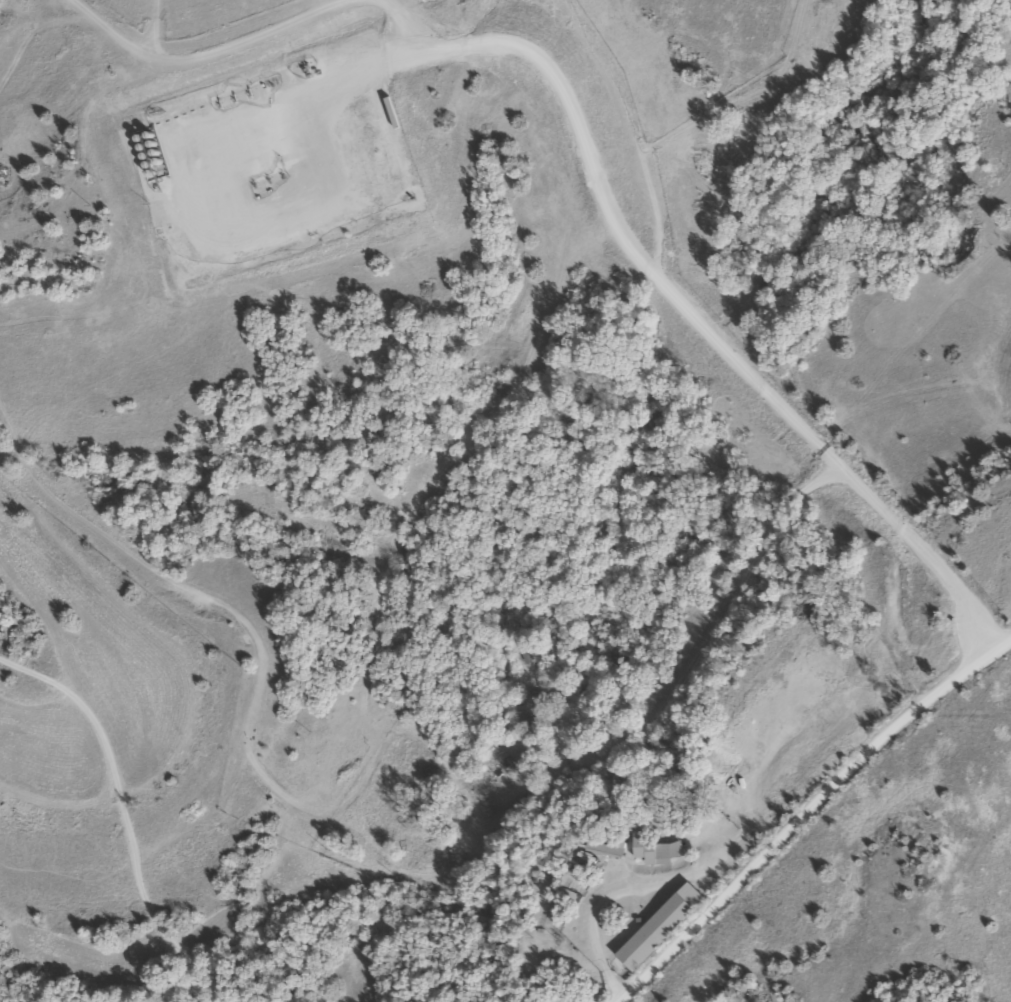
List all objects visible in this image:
road: (400, 35)
road: (193, 61)
road: (651, 274)
road: (709, 640)
building: (527, 709)
road: (808, 816)
building: (602, 849)
building: (649, 851)
building: (659, 928)

